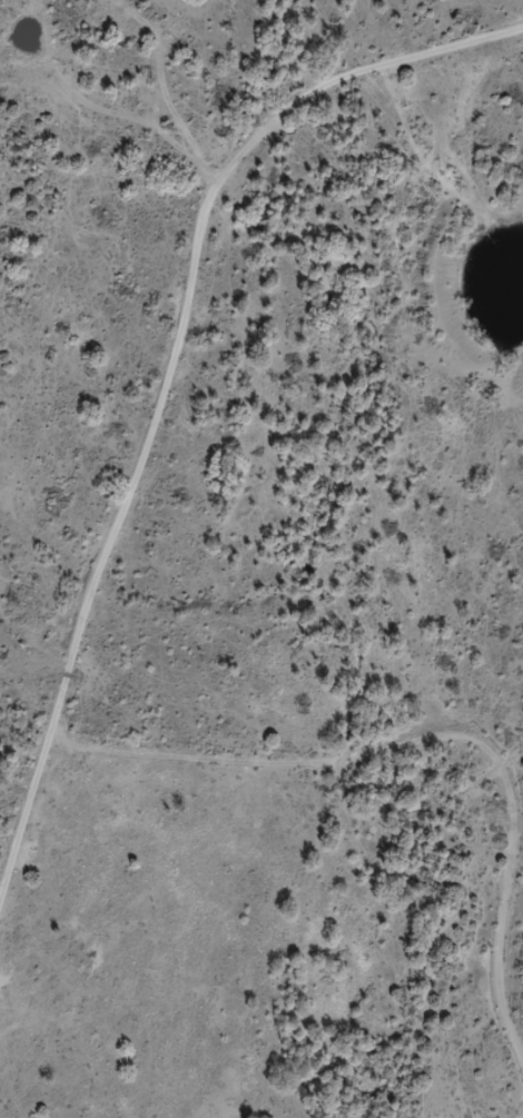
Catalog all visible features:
road: (152, 449)
road: (289, 795)

